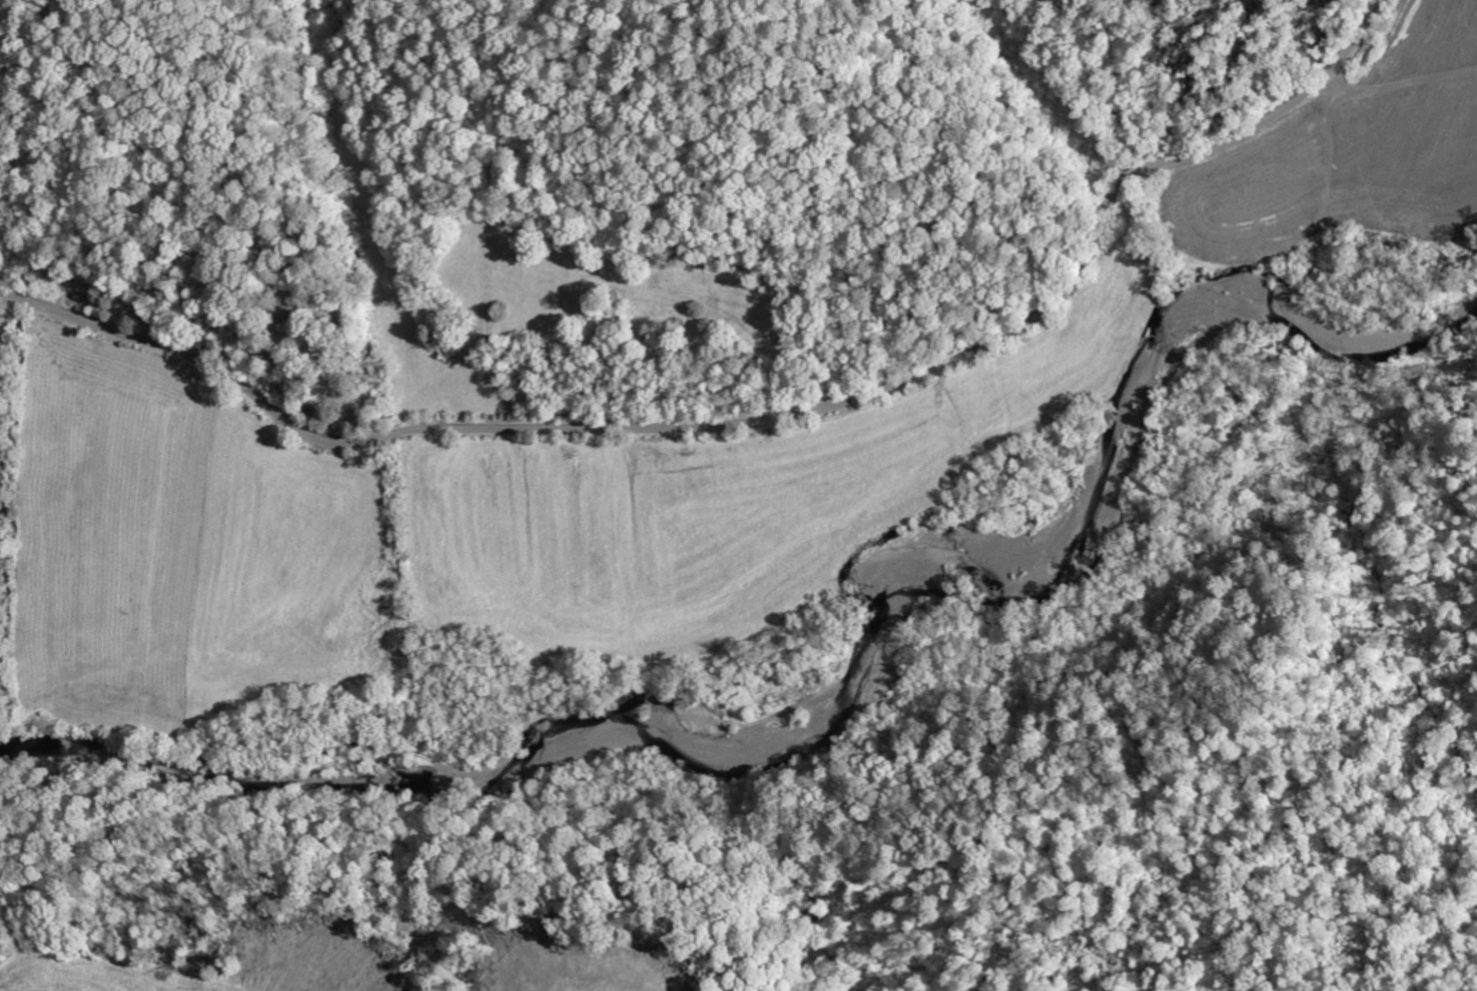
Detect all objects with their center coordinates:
road: (752, 422)

